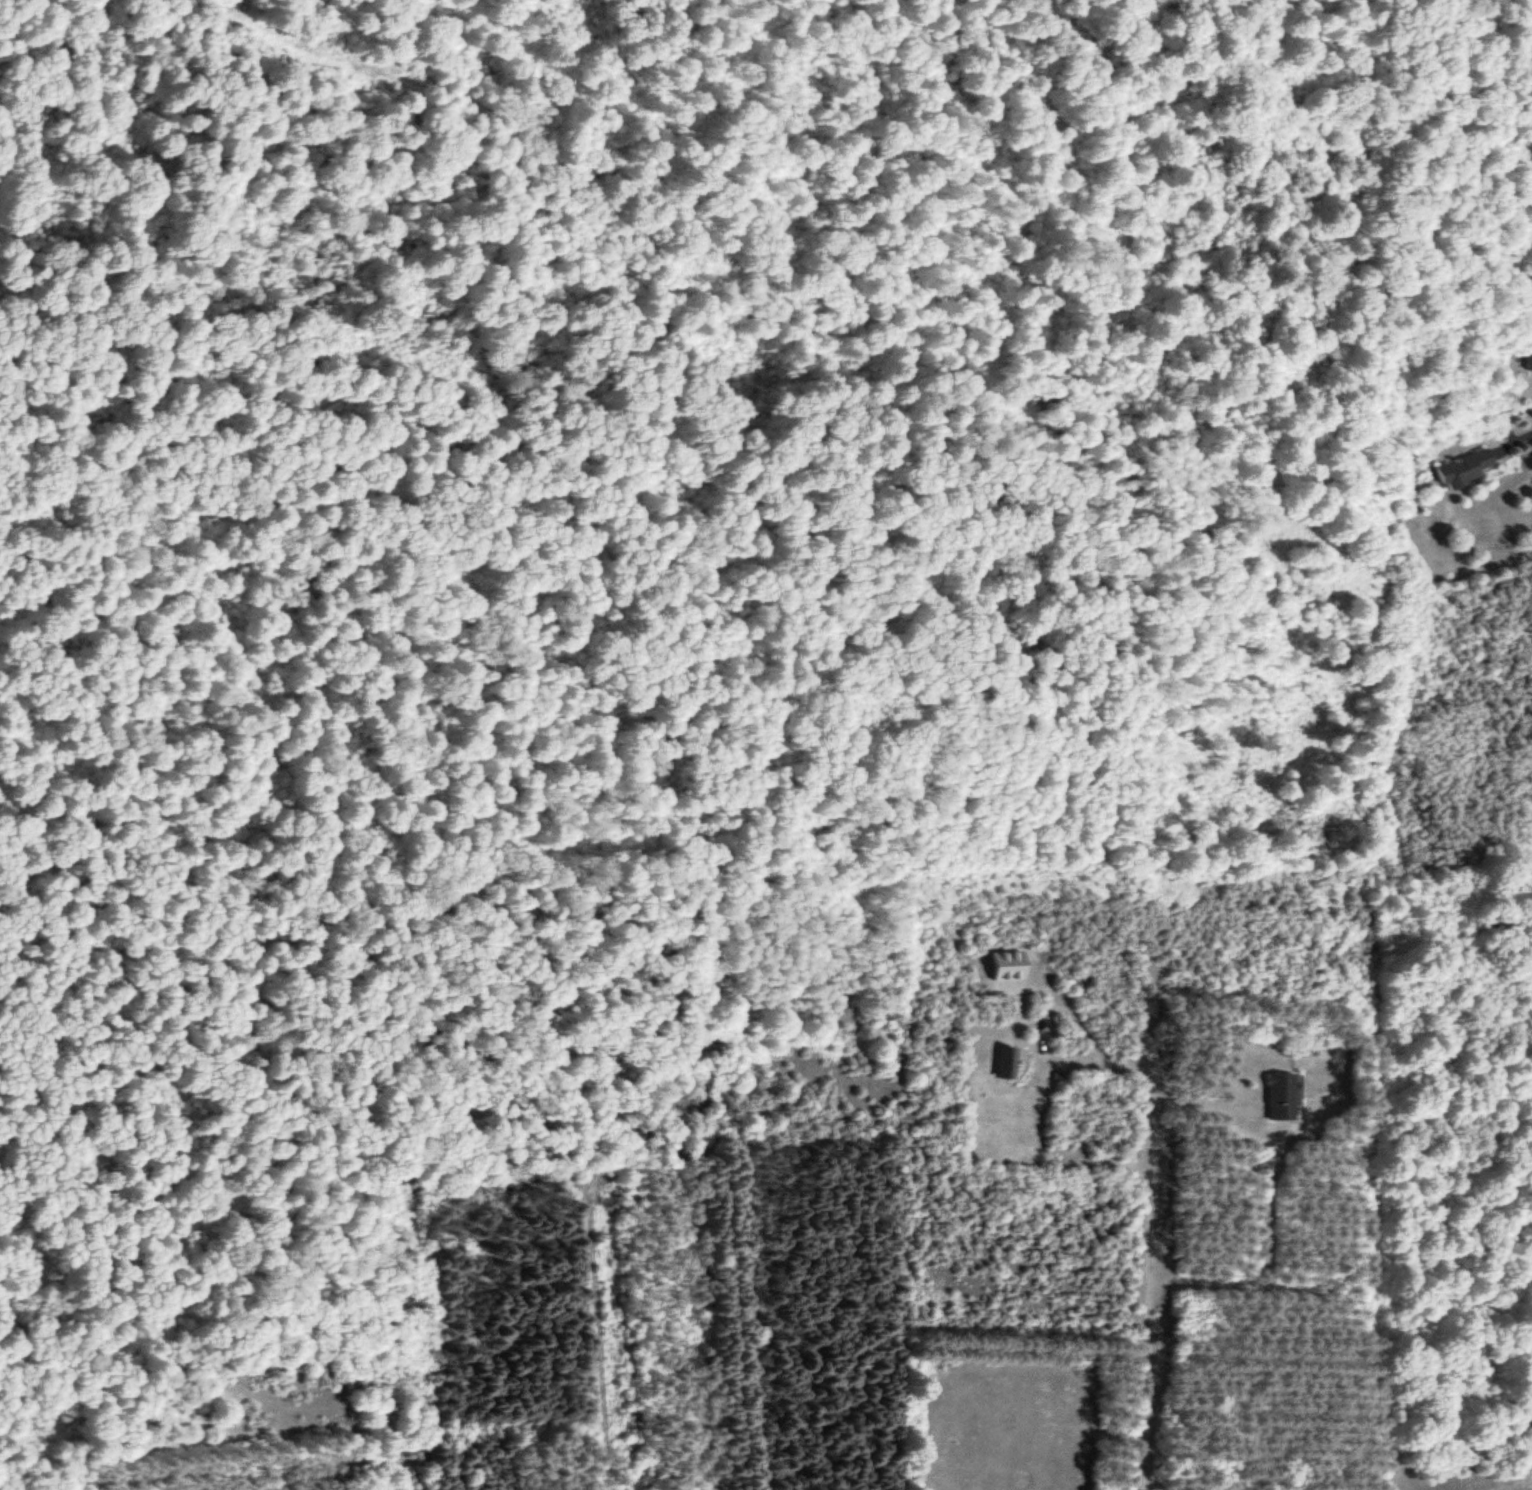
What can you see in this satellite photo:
building: (1526, 352)
building: (1457, 470)
building: (1006, 1064)
building: (1278, 1098)
road: (1154, 1278)

